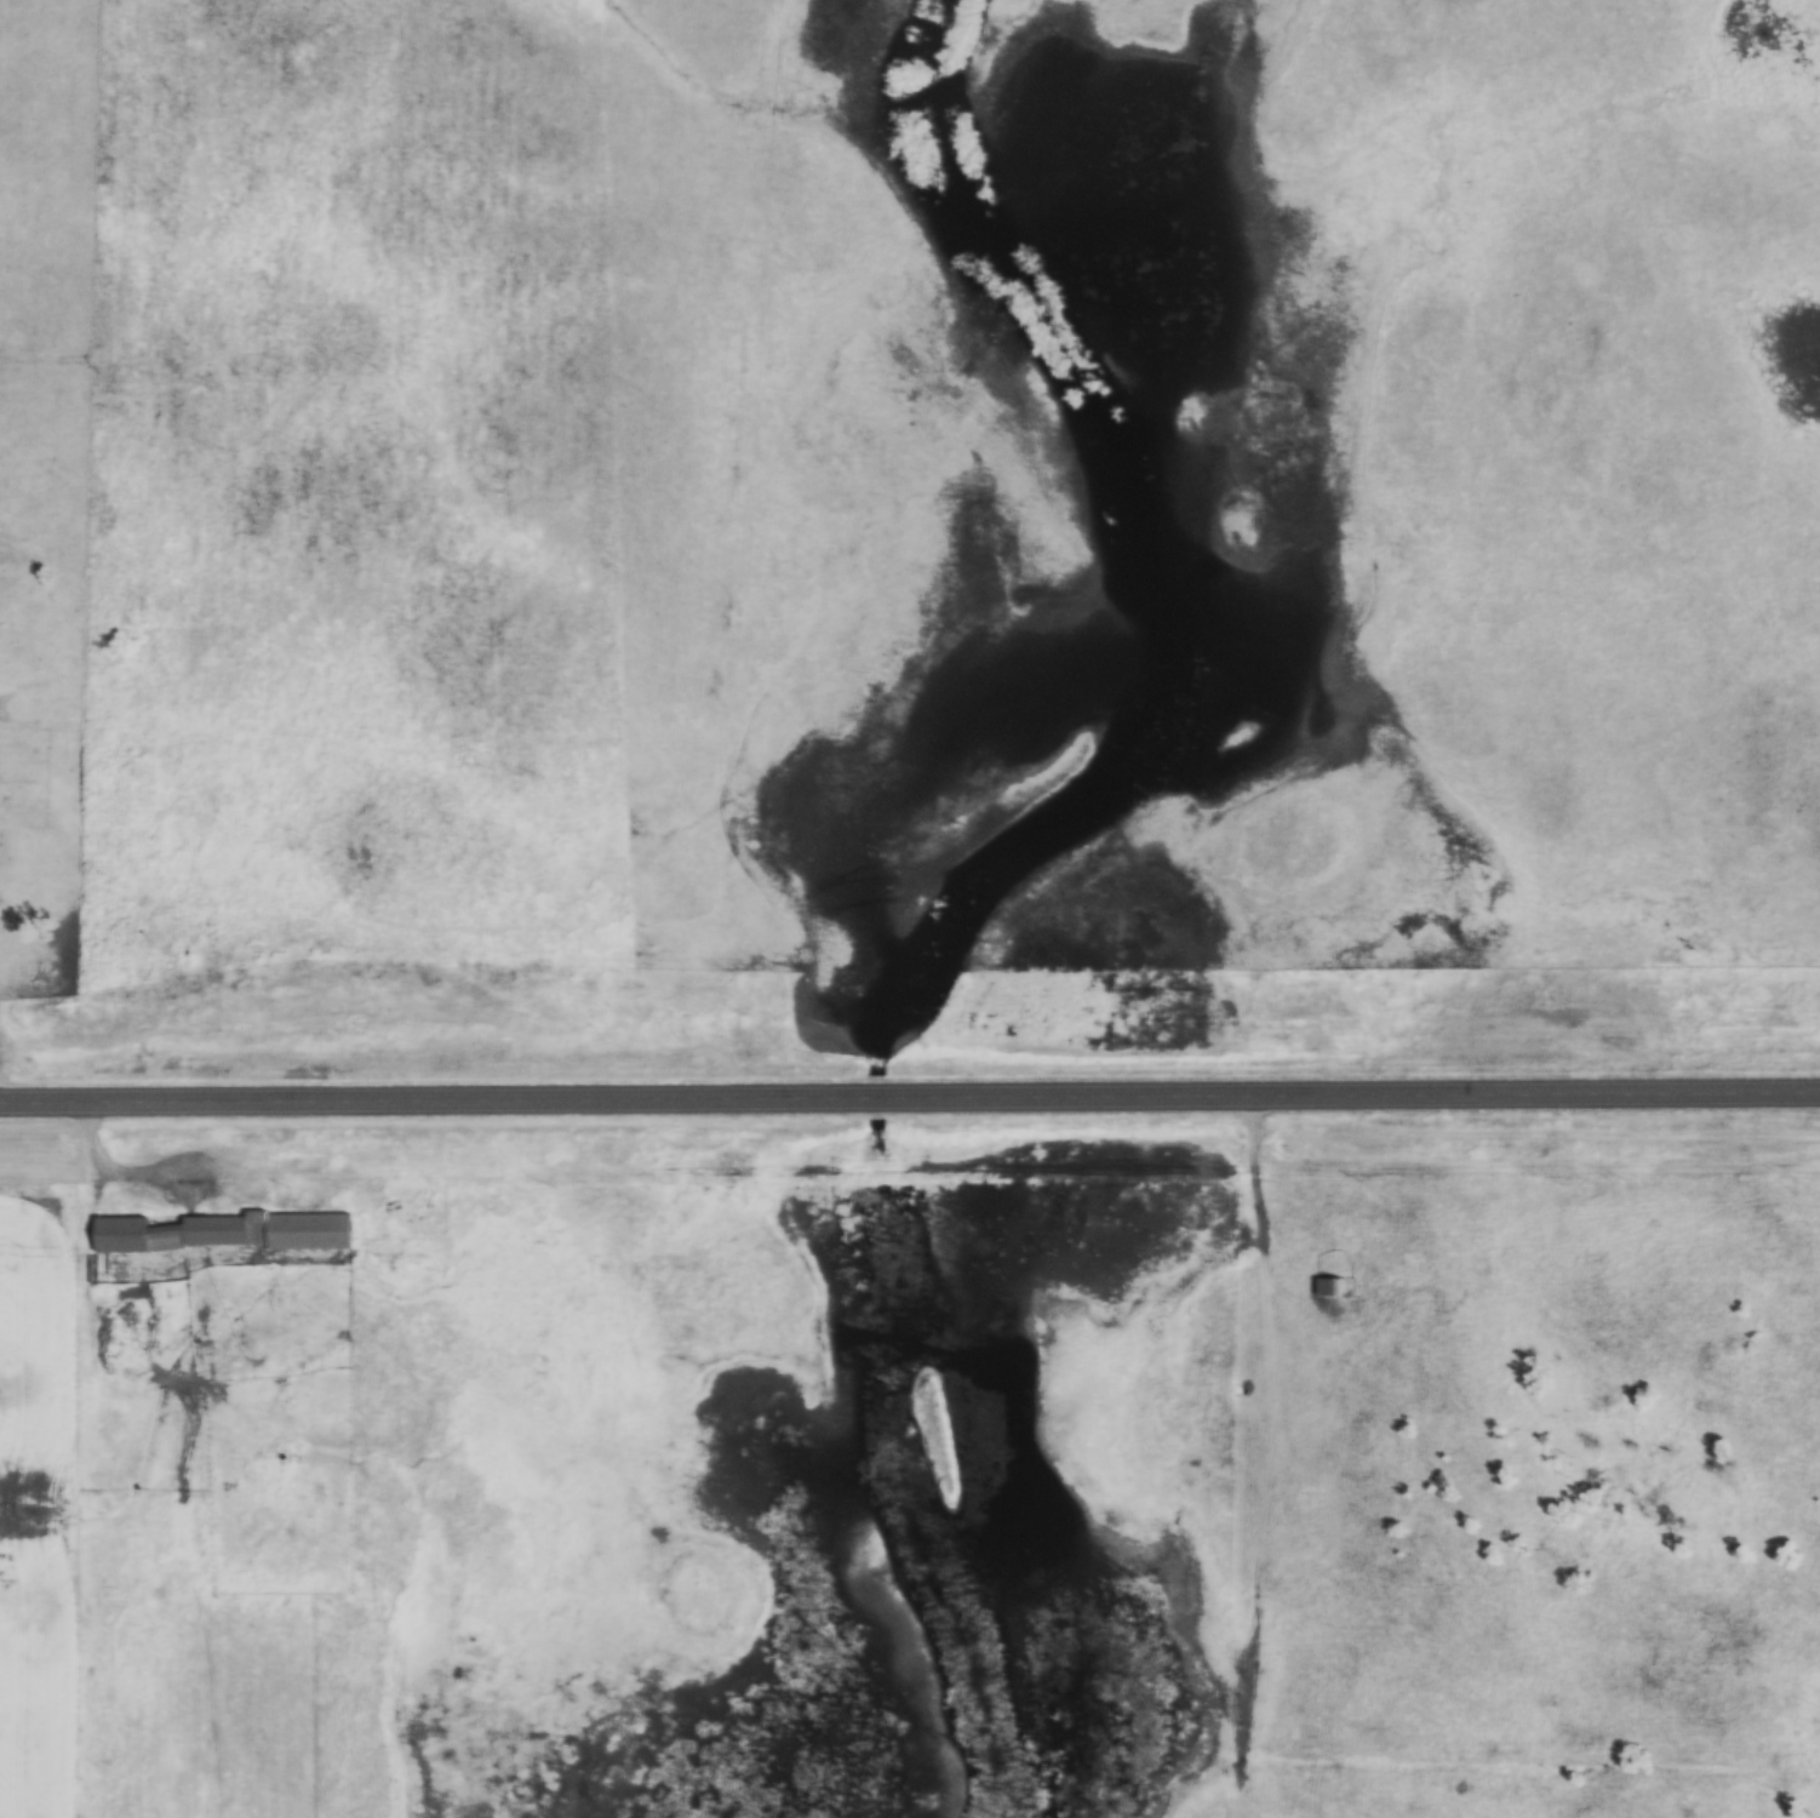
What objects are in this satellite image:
road: (910, 1067)
building: (227, 1231)
building: (1329, 1287)

